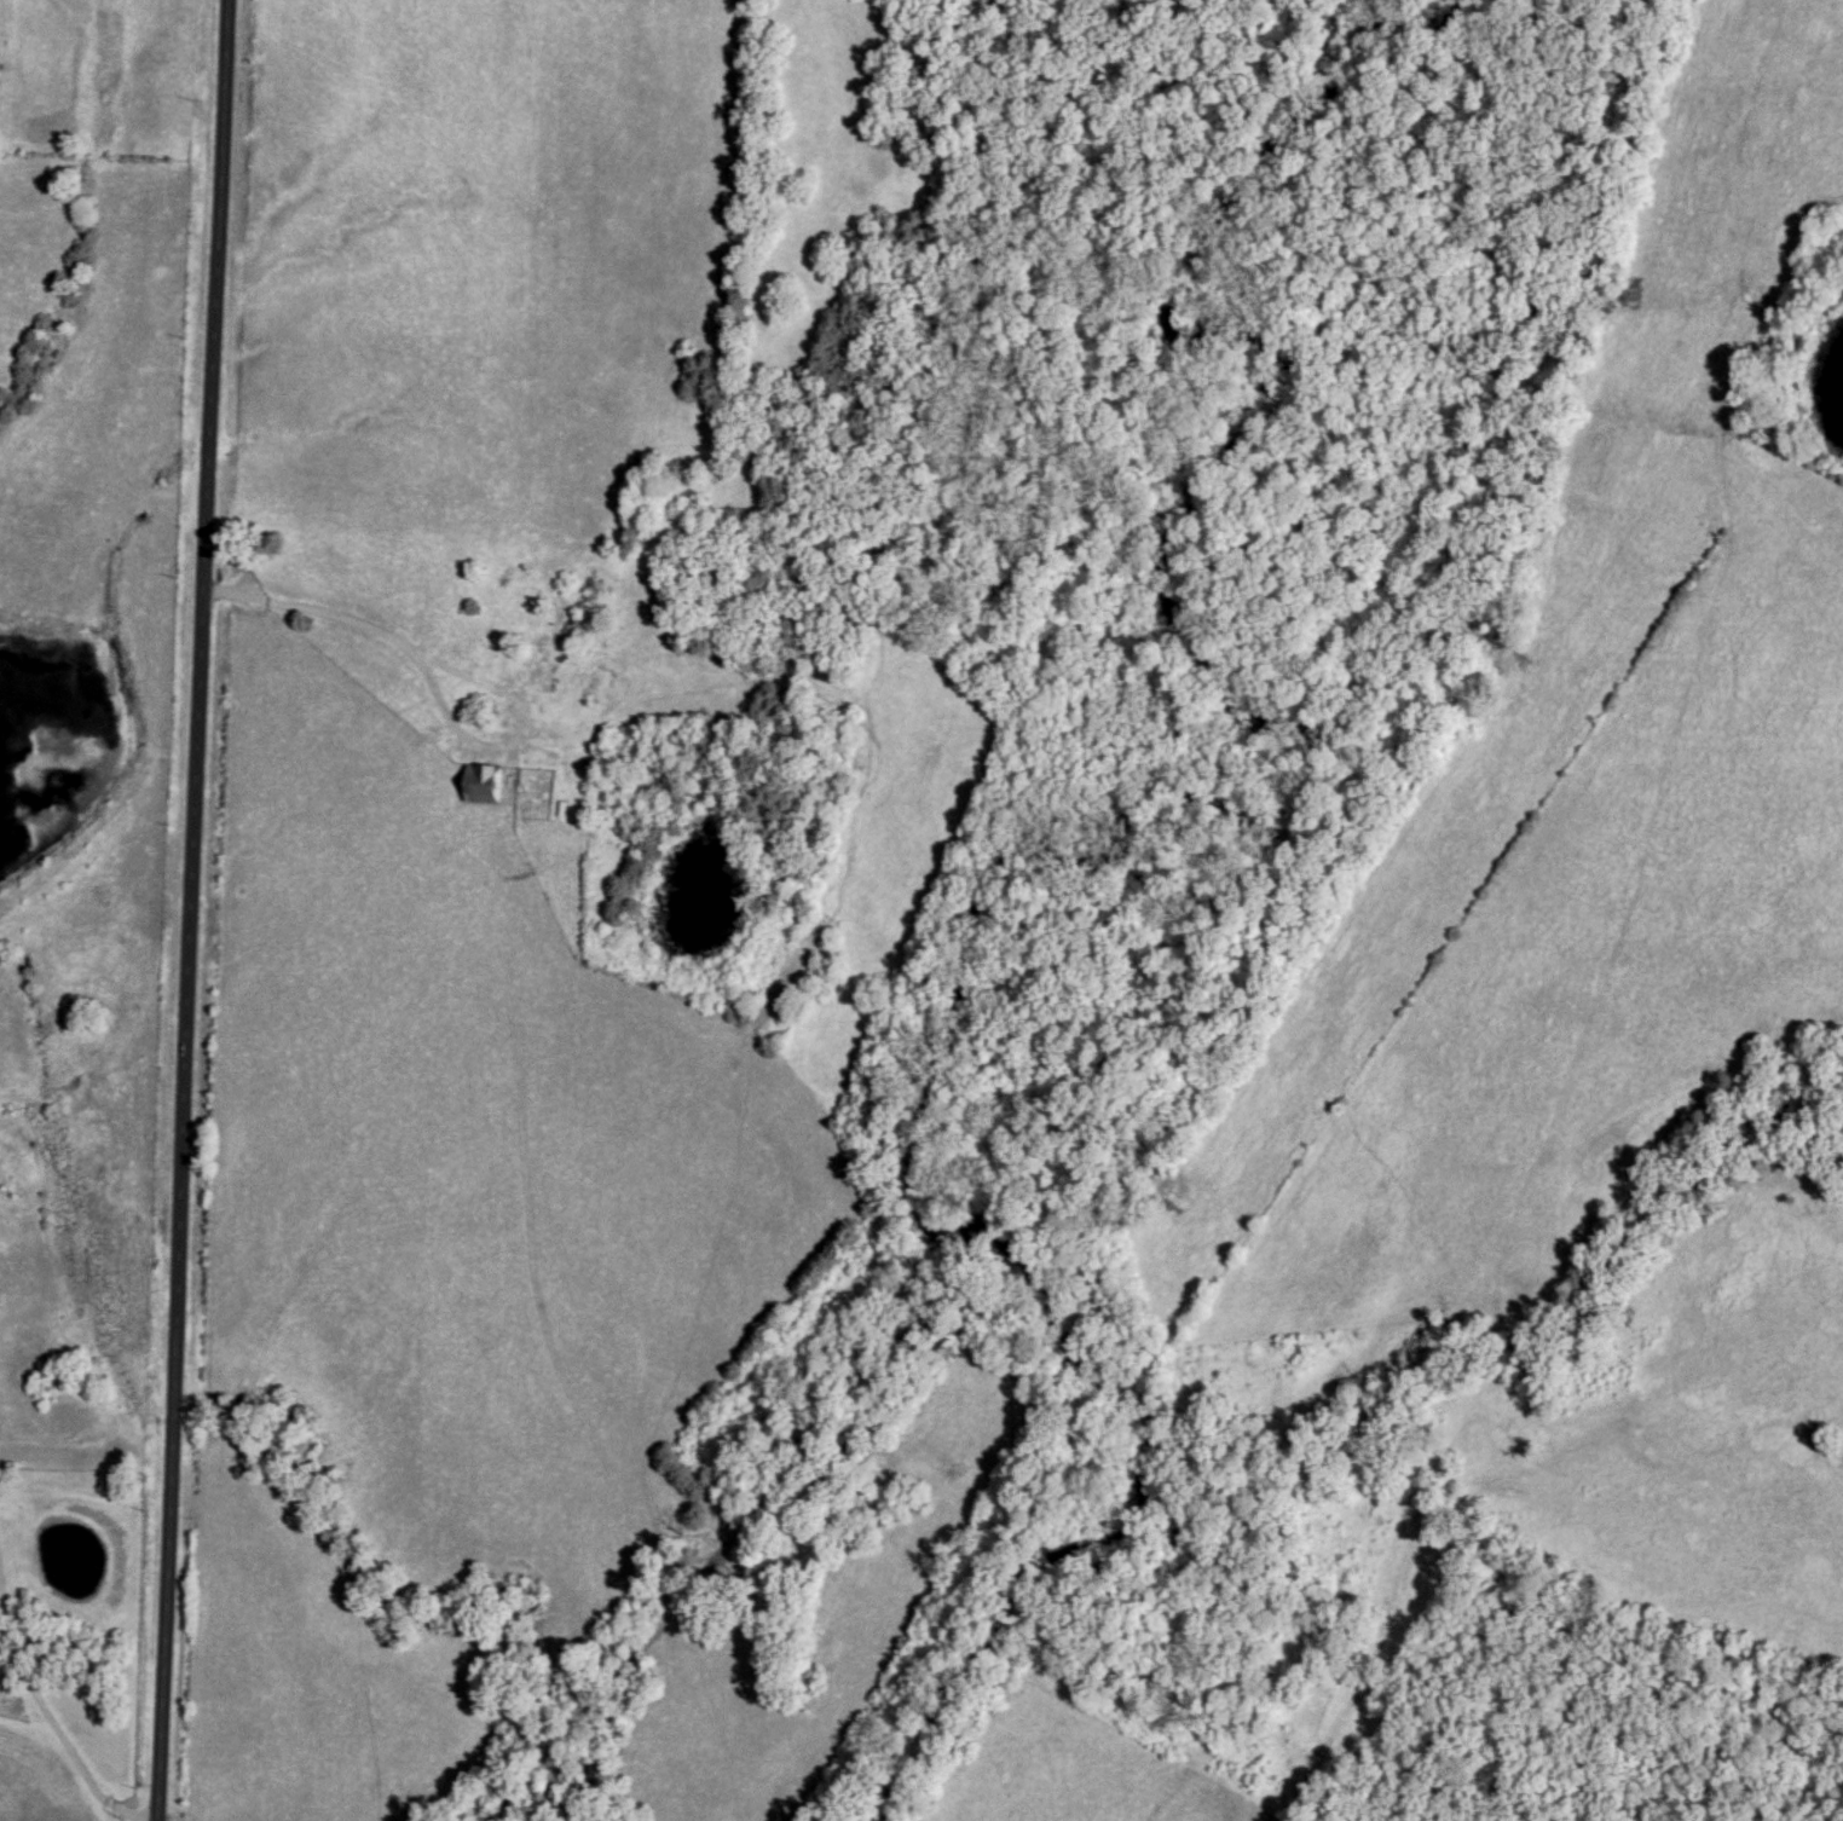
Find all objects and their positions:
parking lot: (229, 592)
road: (377, 628)
building: (486, 782)
road: (196, 909)
road: (48, 1723)

